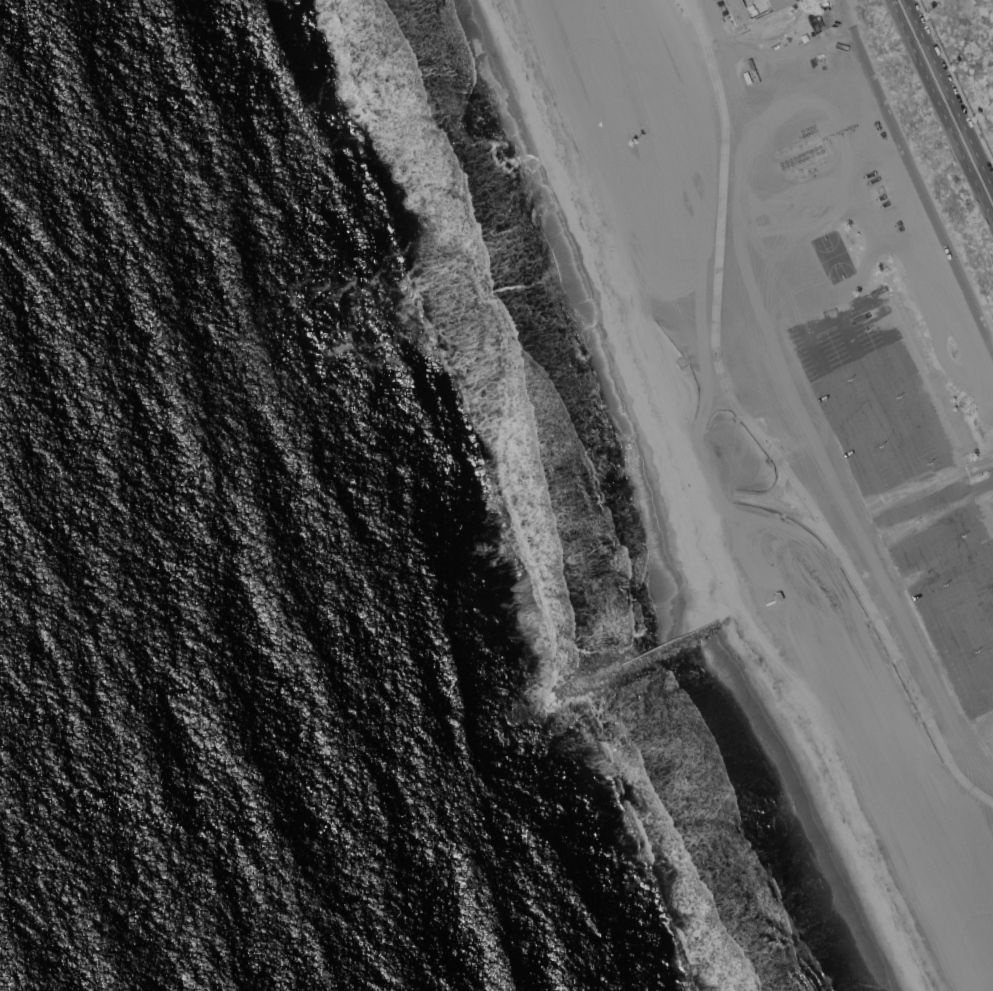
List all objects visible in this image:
road: (896, 0)
road: (898, 0)
building: (779, 3)
building: (738, 10)
building: (807, 23)
road: (934, 79)
road: (981, 153)
road: (916, 173)
road: (982, 181)
park: (832, 258)
road: (839, 314)
road: (756, 428)
road: (933, 428)
road: (974, 468)
parking lot: (910, 480)
road: (914, 481)
road: (979, 487)
road: (925, 500)
road: (891, 516)
building: (797, 577)
road: (984, 699)
road: (981, 740)

